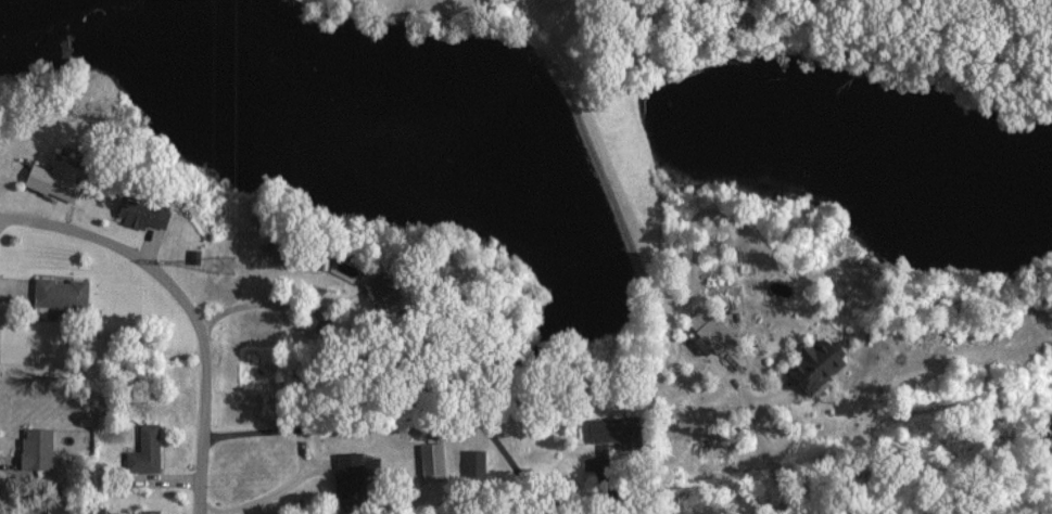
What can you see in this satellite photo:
building: (54, 180)
building: (143, 213)
power tower: (231, 266)
building: (380, 286)
building: (62, 292)
road: (188, 300)
building: (712, 330)
building: (817, 363)
building: (617, 431)
building: (38, 447)
building: (145, 449)
road: (763, 457)
building: (433, 459)
building: (474, 463)
building: (358, 465)
road: (347, 497)
building: (151, 511)

